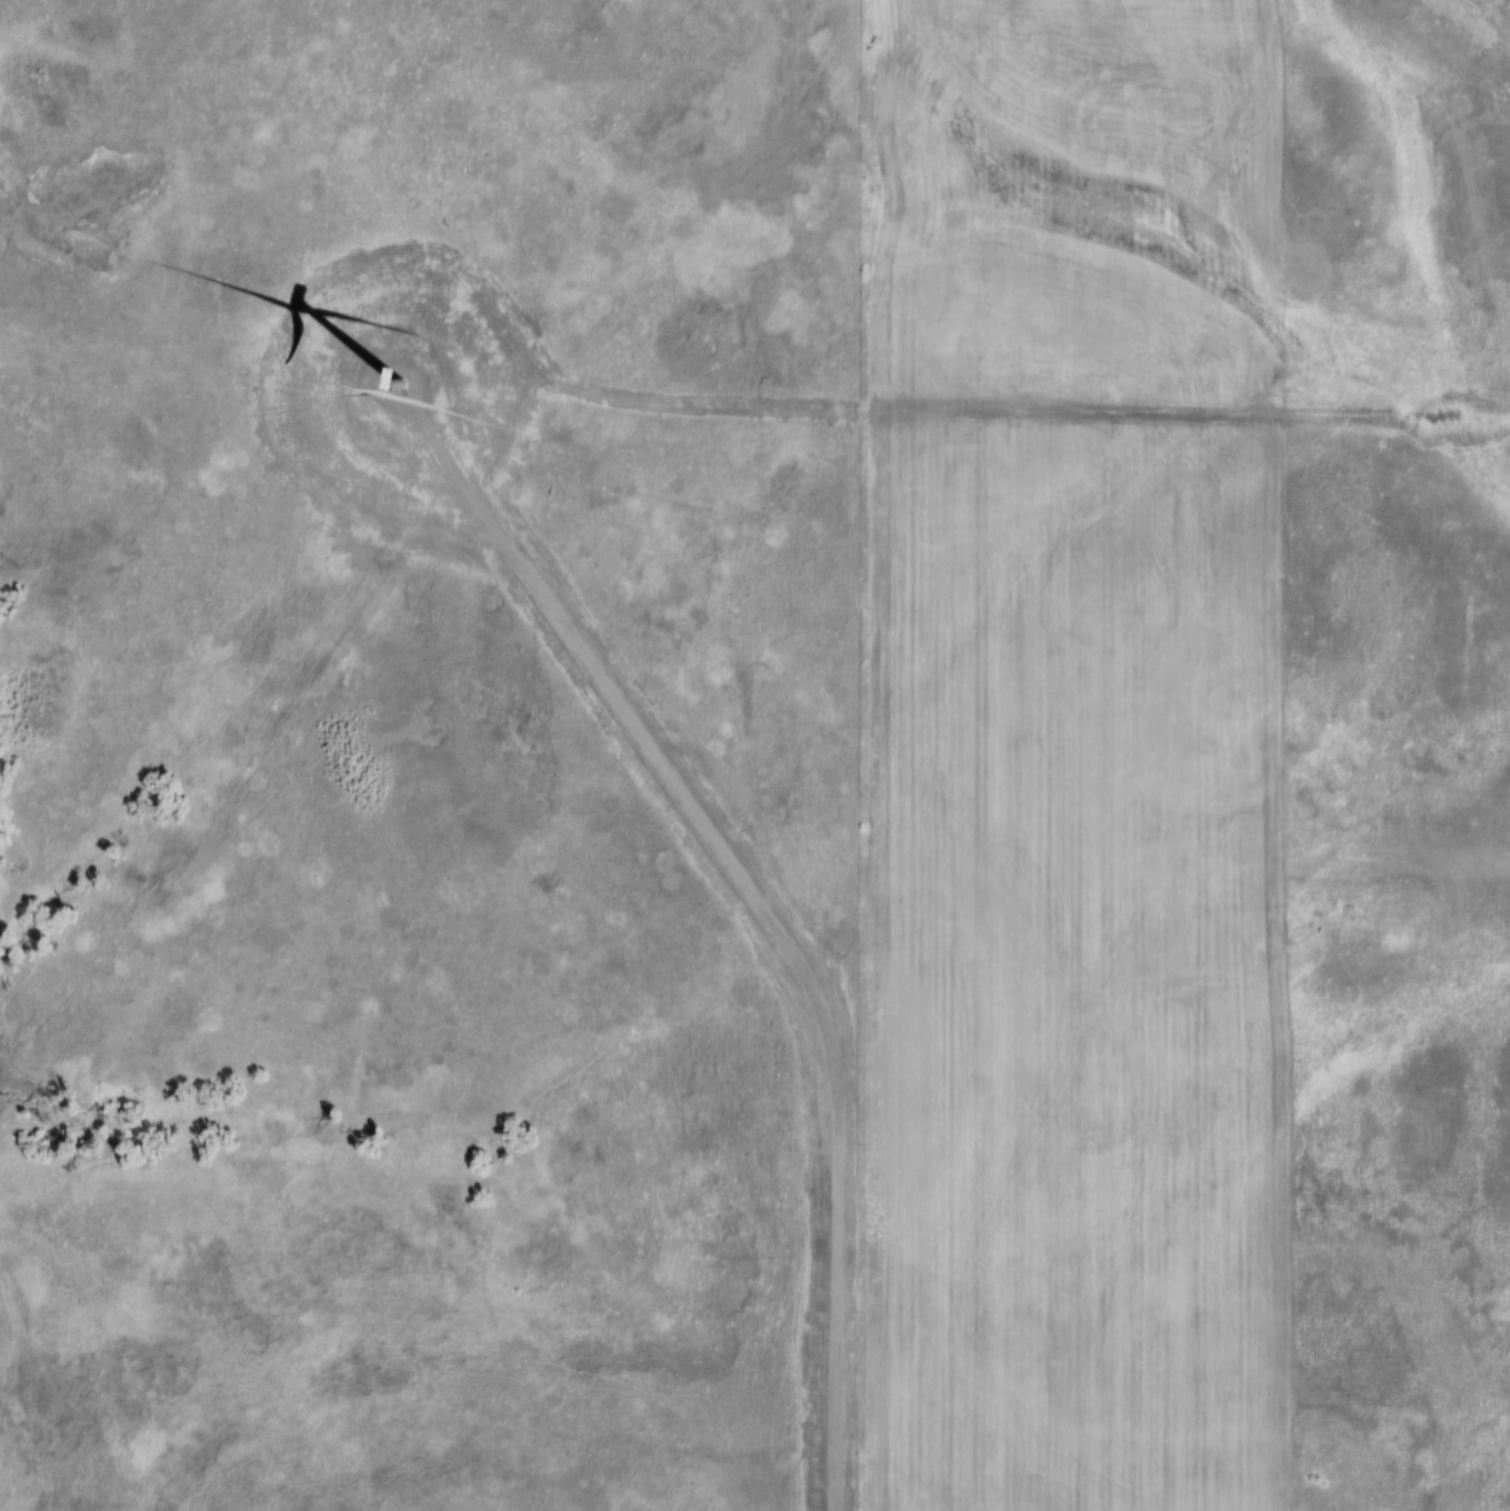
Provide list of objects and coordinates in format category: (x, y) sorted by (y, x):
wind turbine: (386, 385)
road: (967, 420)
road: (773, 924)

